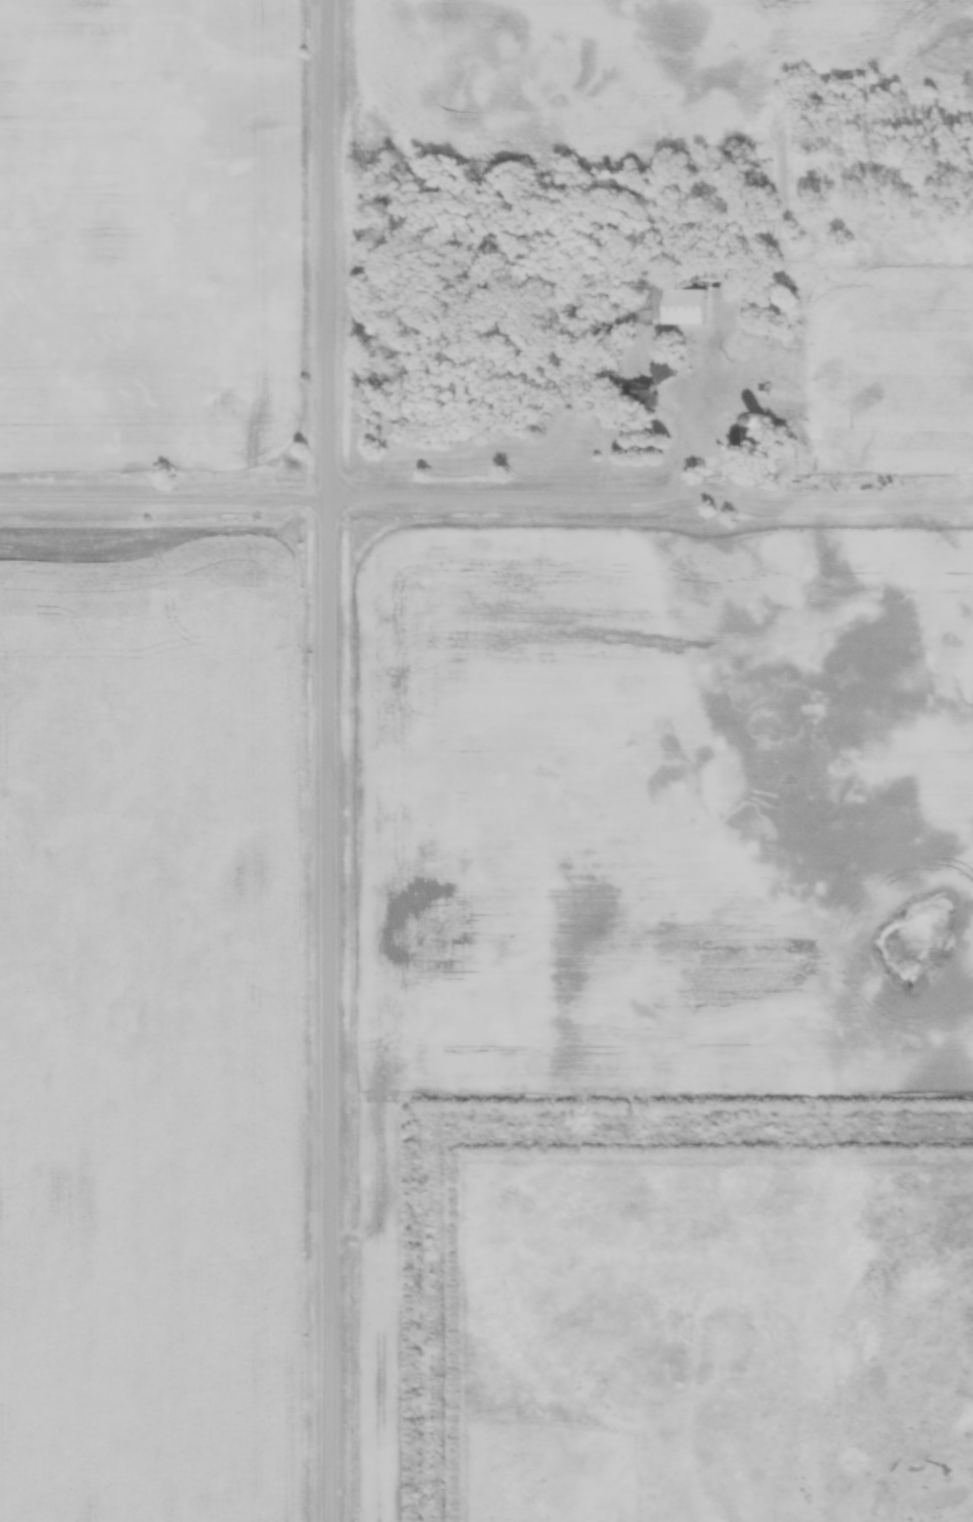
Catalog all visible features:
building: (682, 307)
building: (748, 371)
building: (663, 373)
building: (645, 397)
road: (341, 493)
road: (331, 760)

